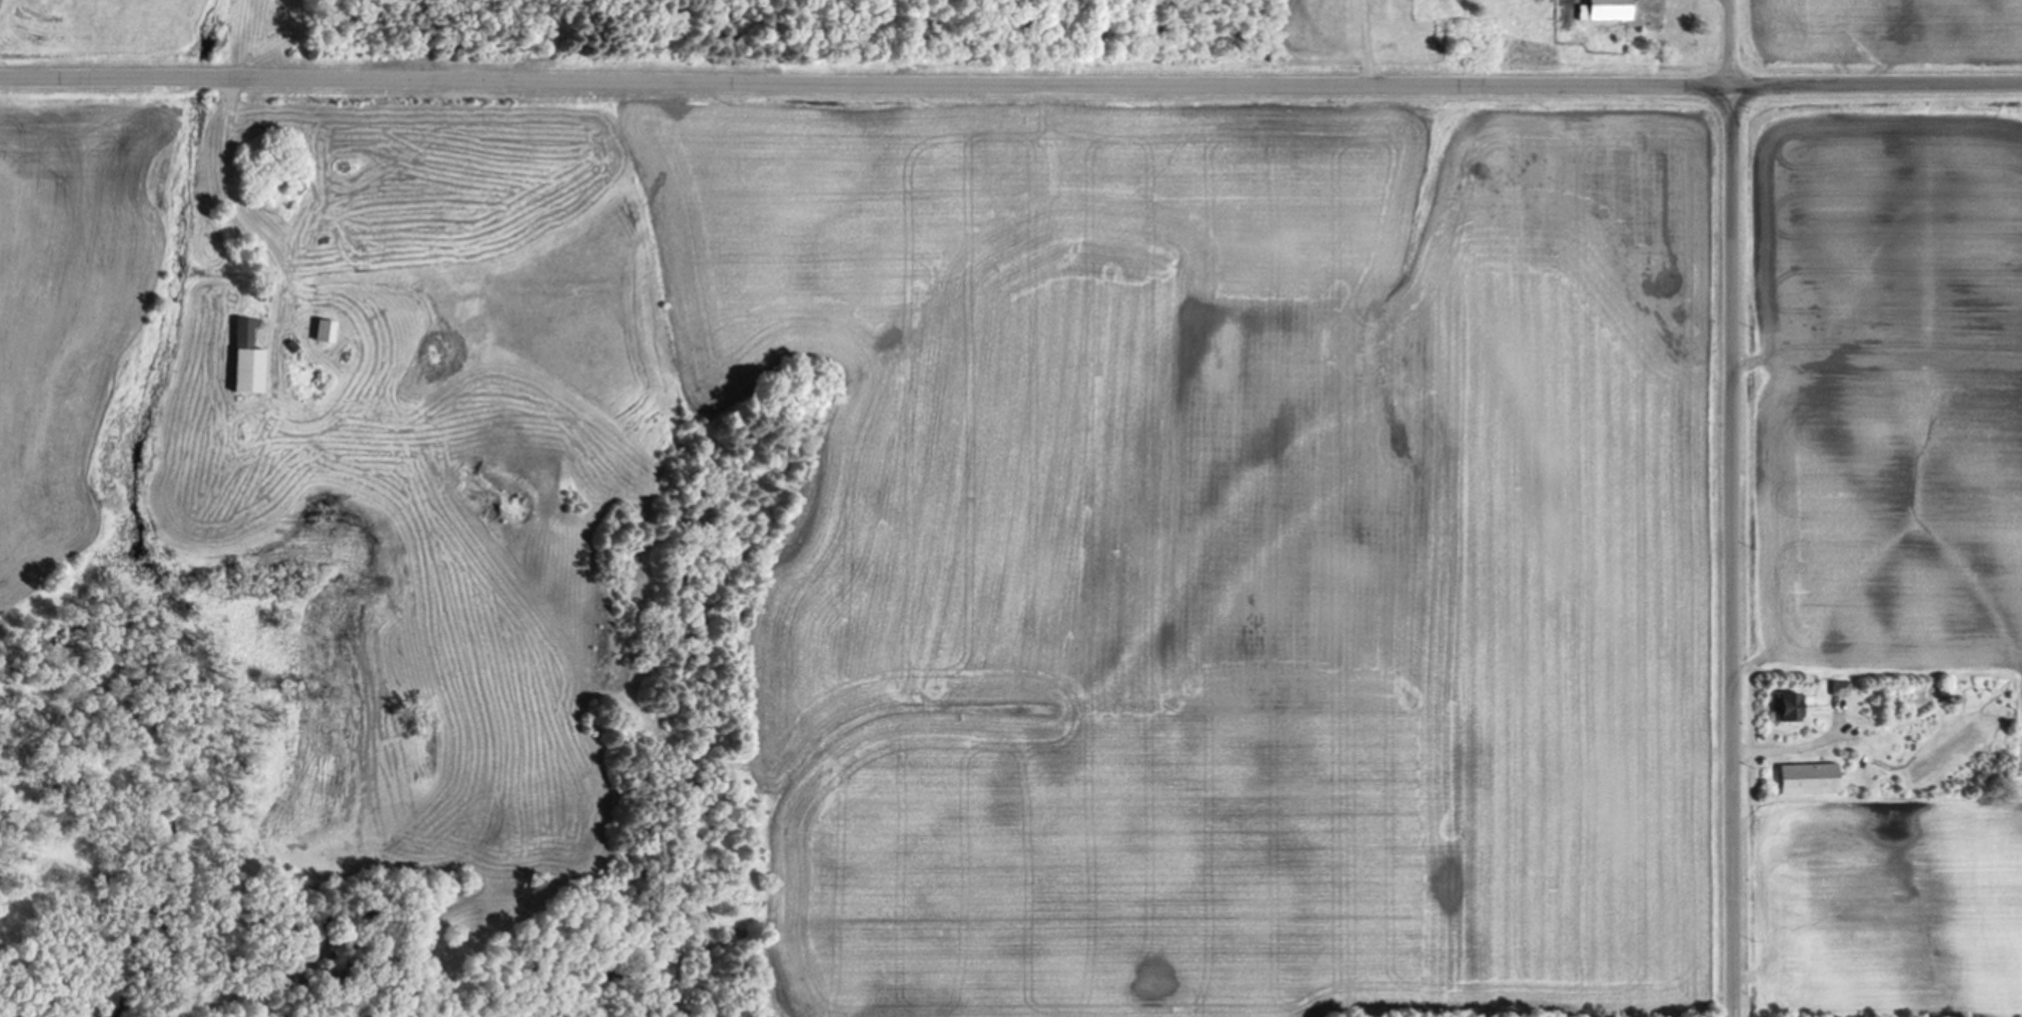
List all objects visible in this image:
building: (1609, 11)
road: (1731, 44)
road: (1010, 84)
road: (235, 197)
building: (328, 332)
building: (250, 361)
road: (1734, 552)
building: (1836, 689)
building: (1784, 708)
road: (1797, 745)
building: (1804, 779)

